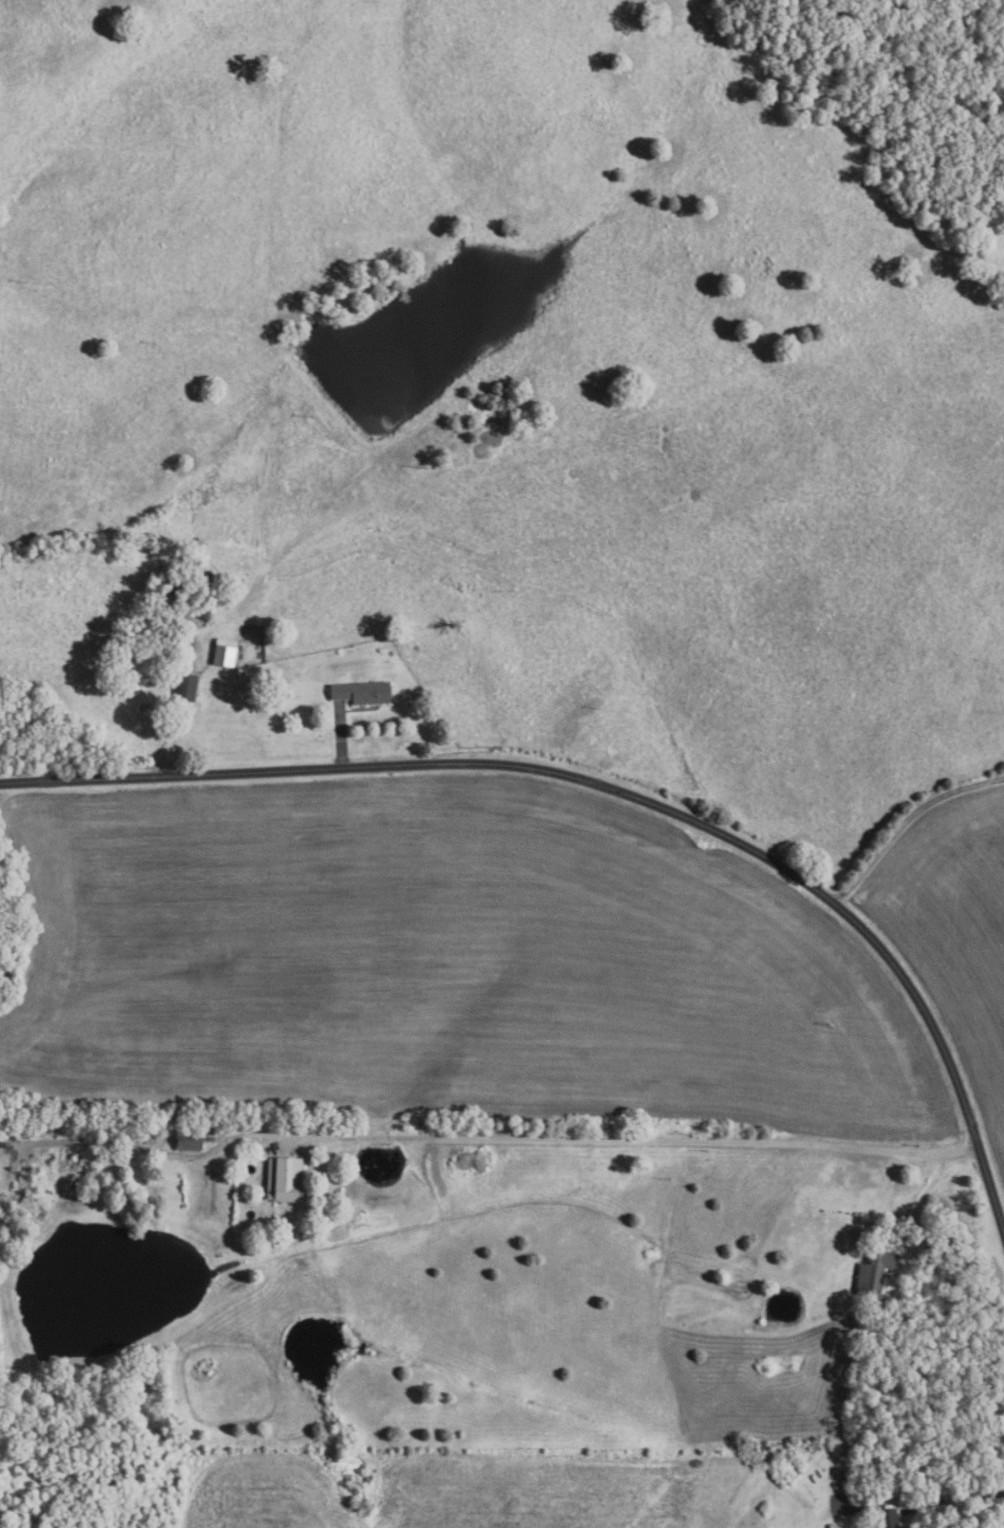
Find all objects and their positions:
building: (253, 630)
building: (225, 653)
building: (188, 687)
building: (363, 693)
road: (340, 737)
road: (618, 790)
road: (904, 820)
building: (190, 1139)
road: (496, 1141)
building: (285, 1178)
road: (917, 1202)
road: (919, 1233)
building: (875, 1271)
road: (947, 1499)
building: (889, 1518)
building: (833, 1525)

